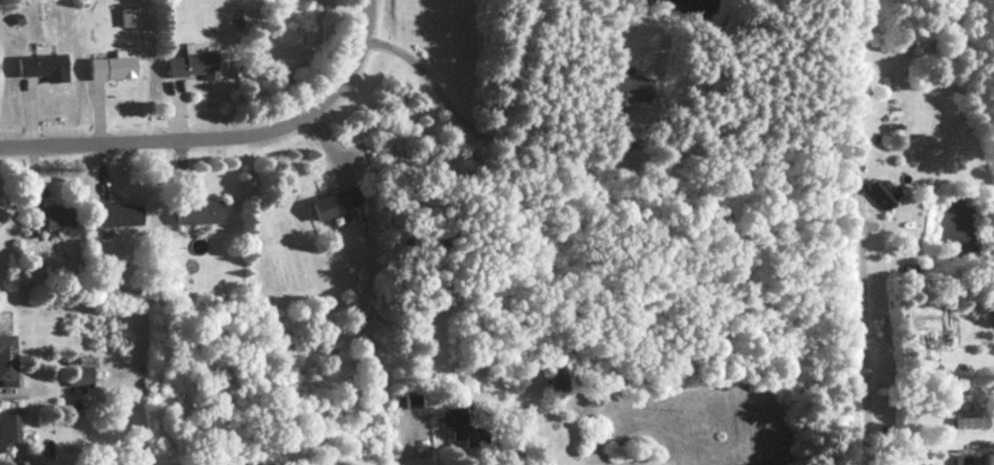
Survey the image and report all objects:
building: (190, 64)
building: (42, 65)
building: (110, 66)
road: (554, 76)
building: (630, 90)
road: (222, 138)
building: (881, 191)
building: (334, 202)
building: (199, 210)
building: (117, 214)
building: (48, 215)
road: (871, 329)
building: (6, 360)
building: (78, 376)
building: (556, 377)
building: (453, 425)
building: (8, 428)
road: (401, 450)
building: (972, 459)
building: (30, 461)

